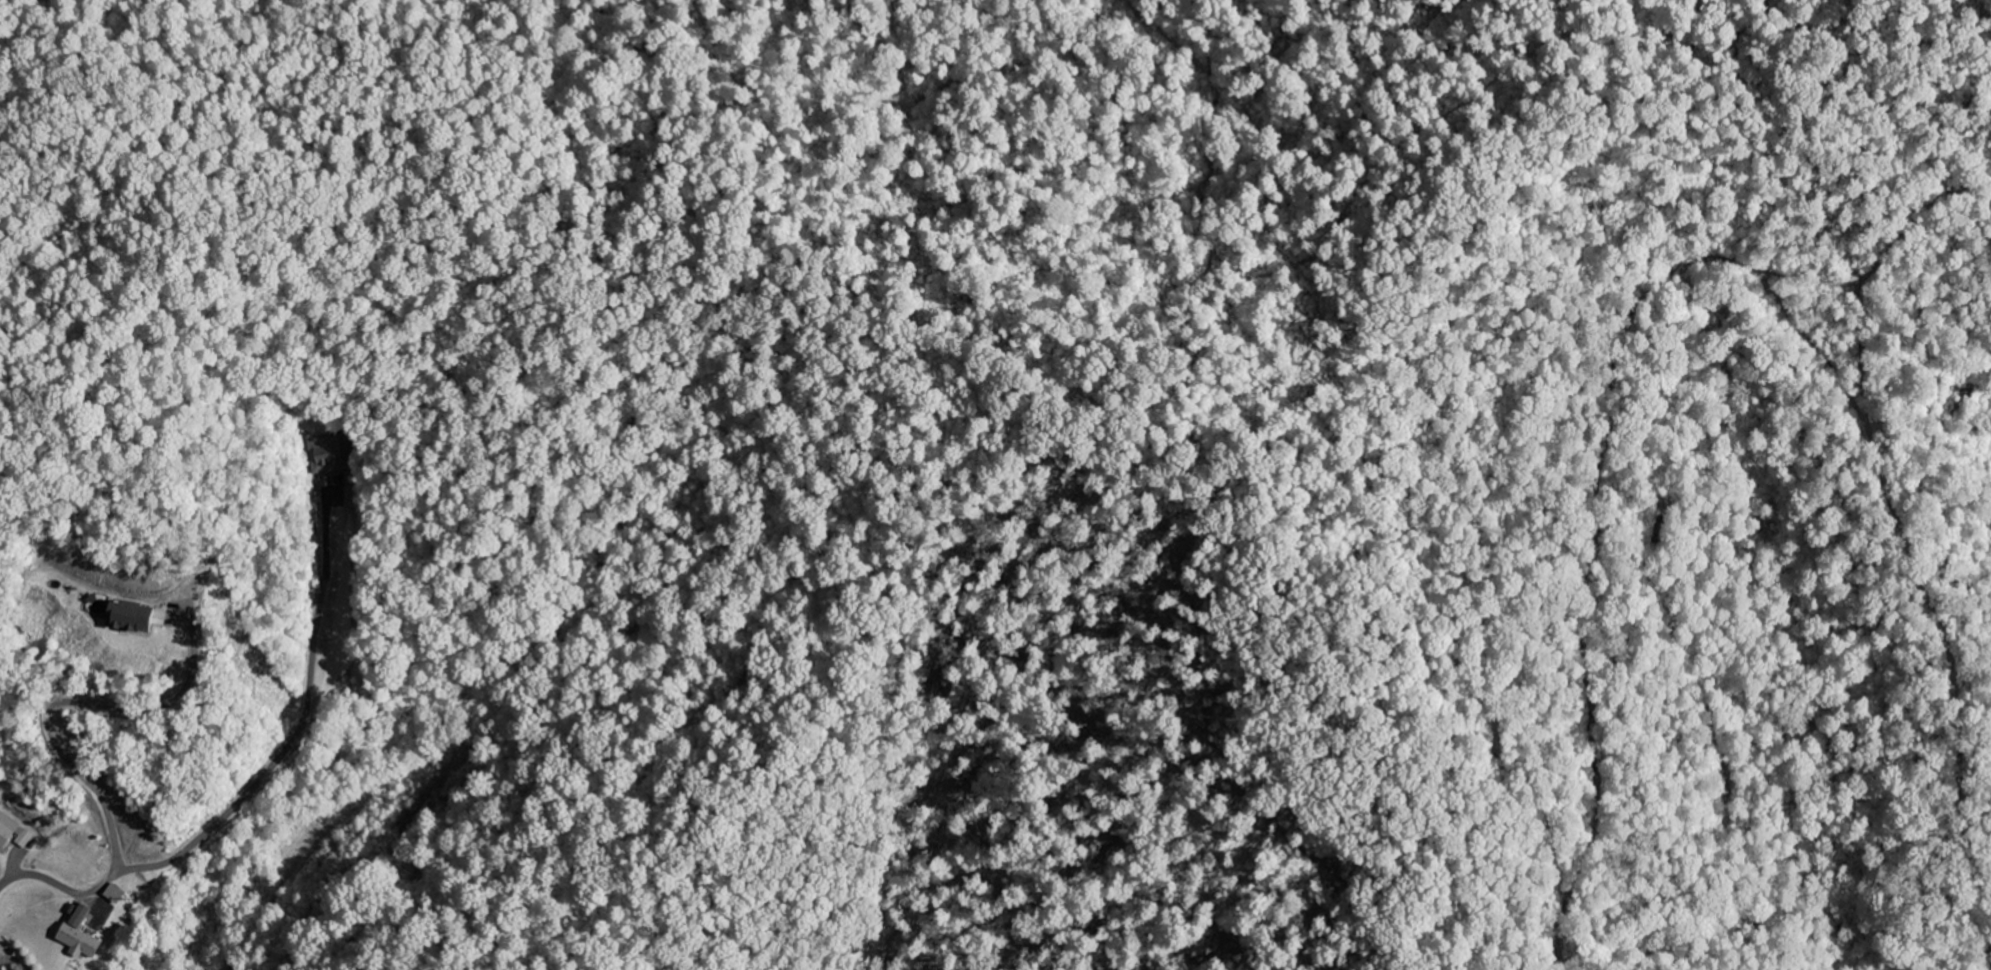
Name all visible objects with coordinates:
road: (14, 2)
building: (329, 455)
building: (126, 618)
building: (12, 834)
building: (75, 937)

